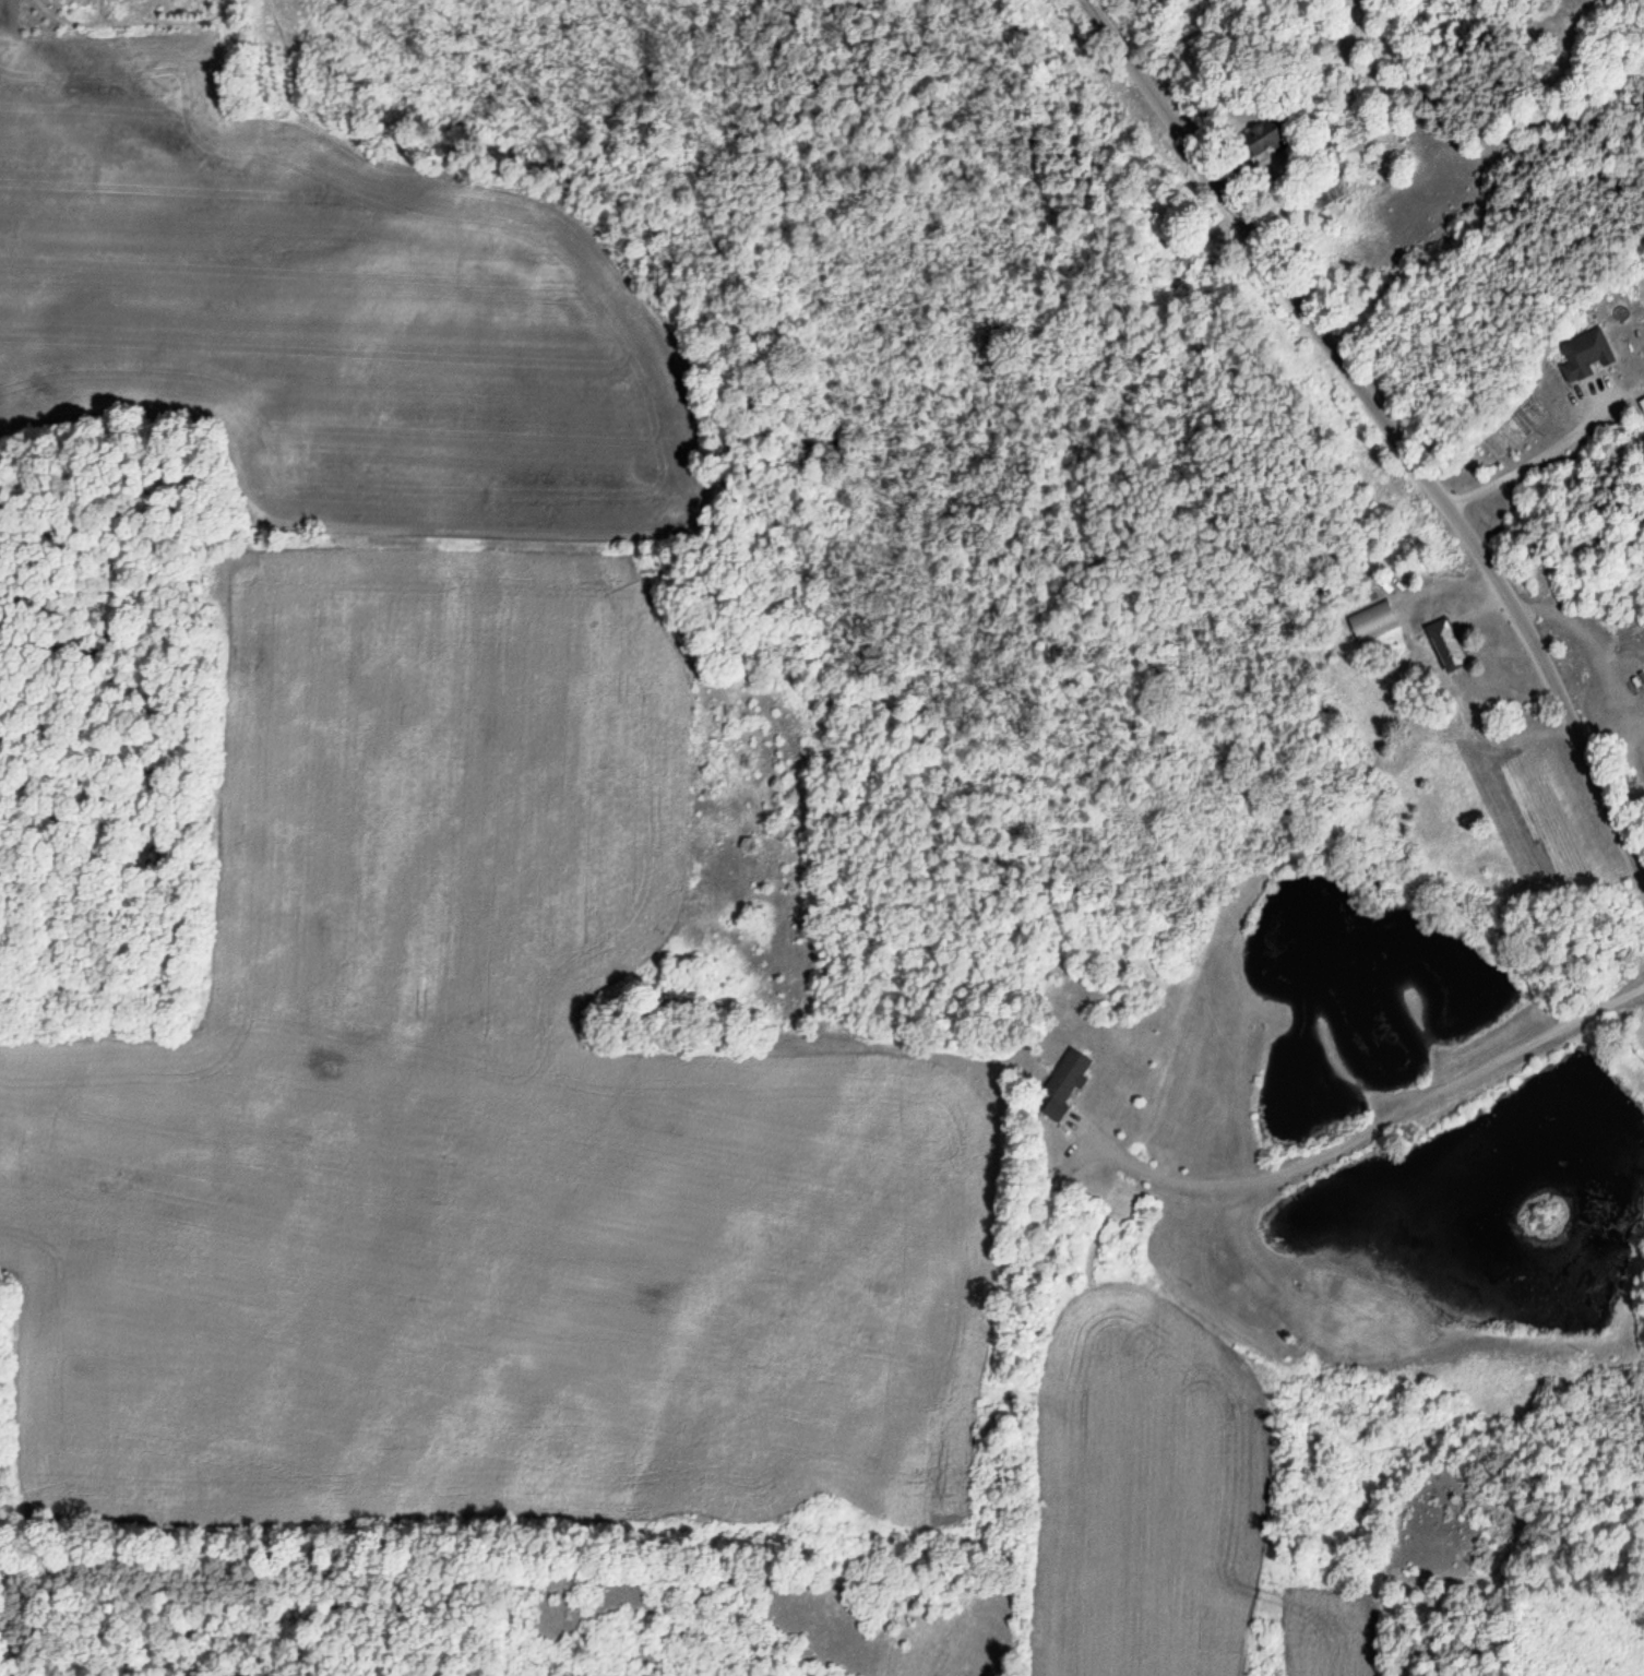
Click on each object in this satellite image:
building: (1258, 141)
building: (1187, 255)
building: (1583, 355)
road: (1392, 420)
building: (1371, 622)
building: (1443, 645)
building: (426, 1037)
building: (1062, 1084)

